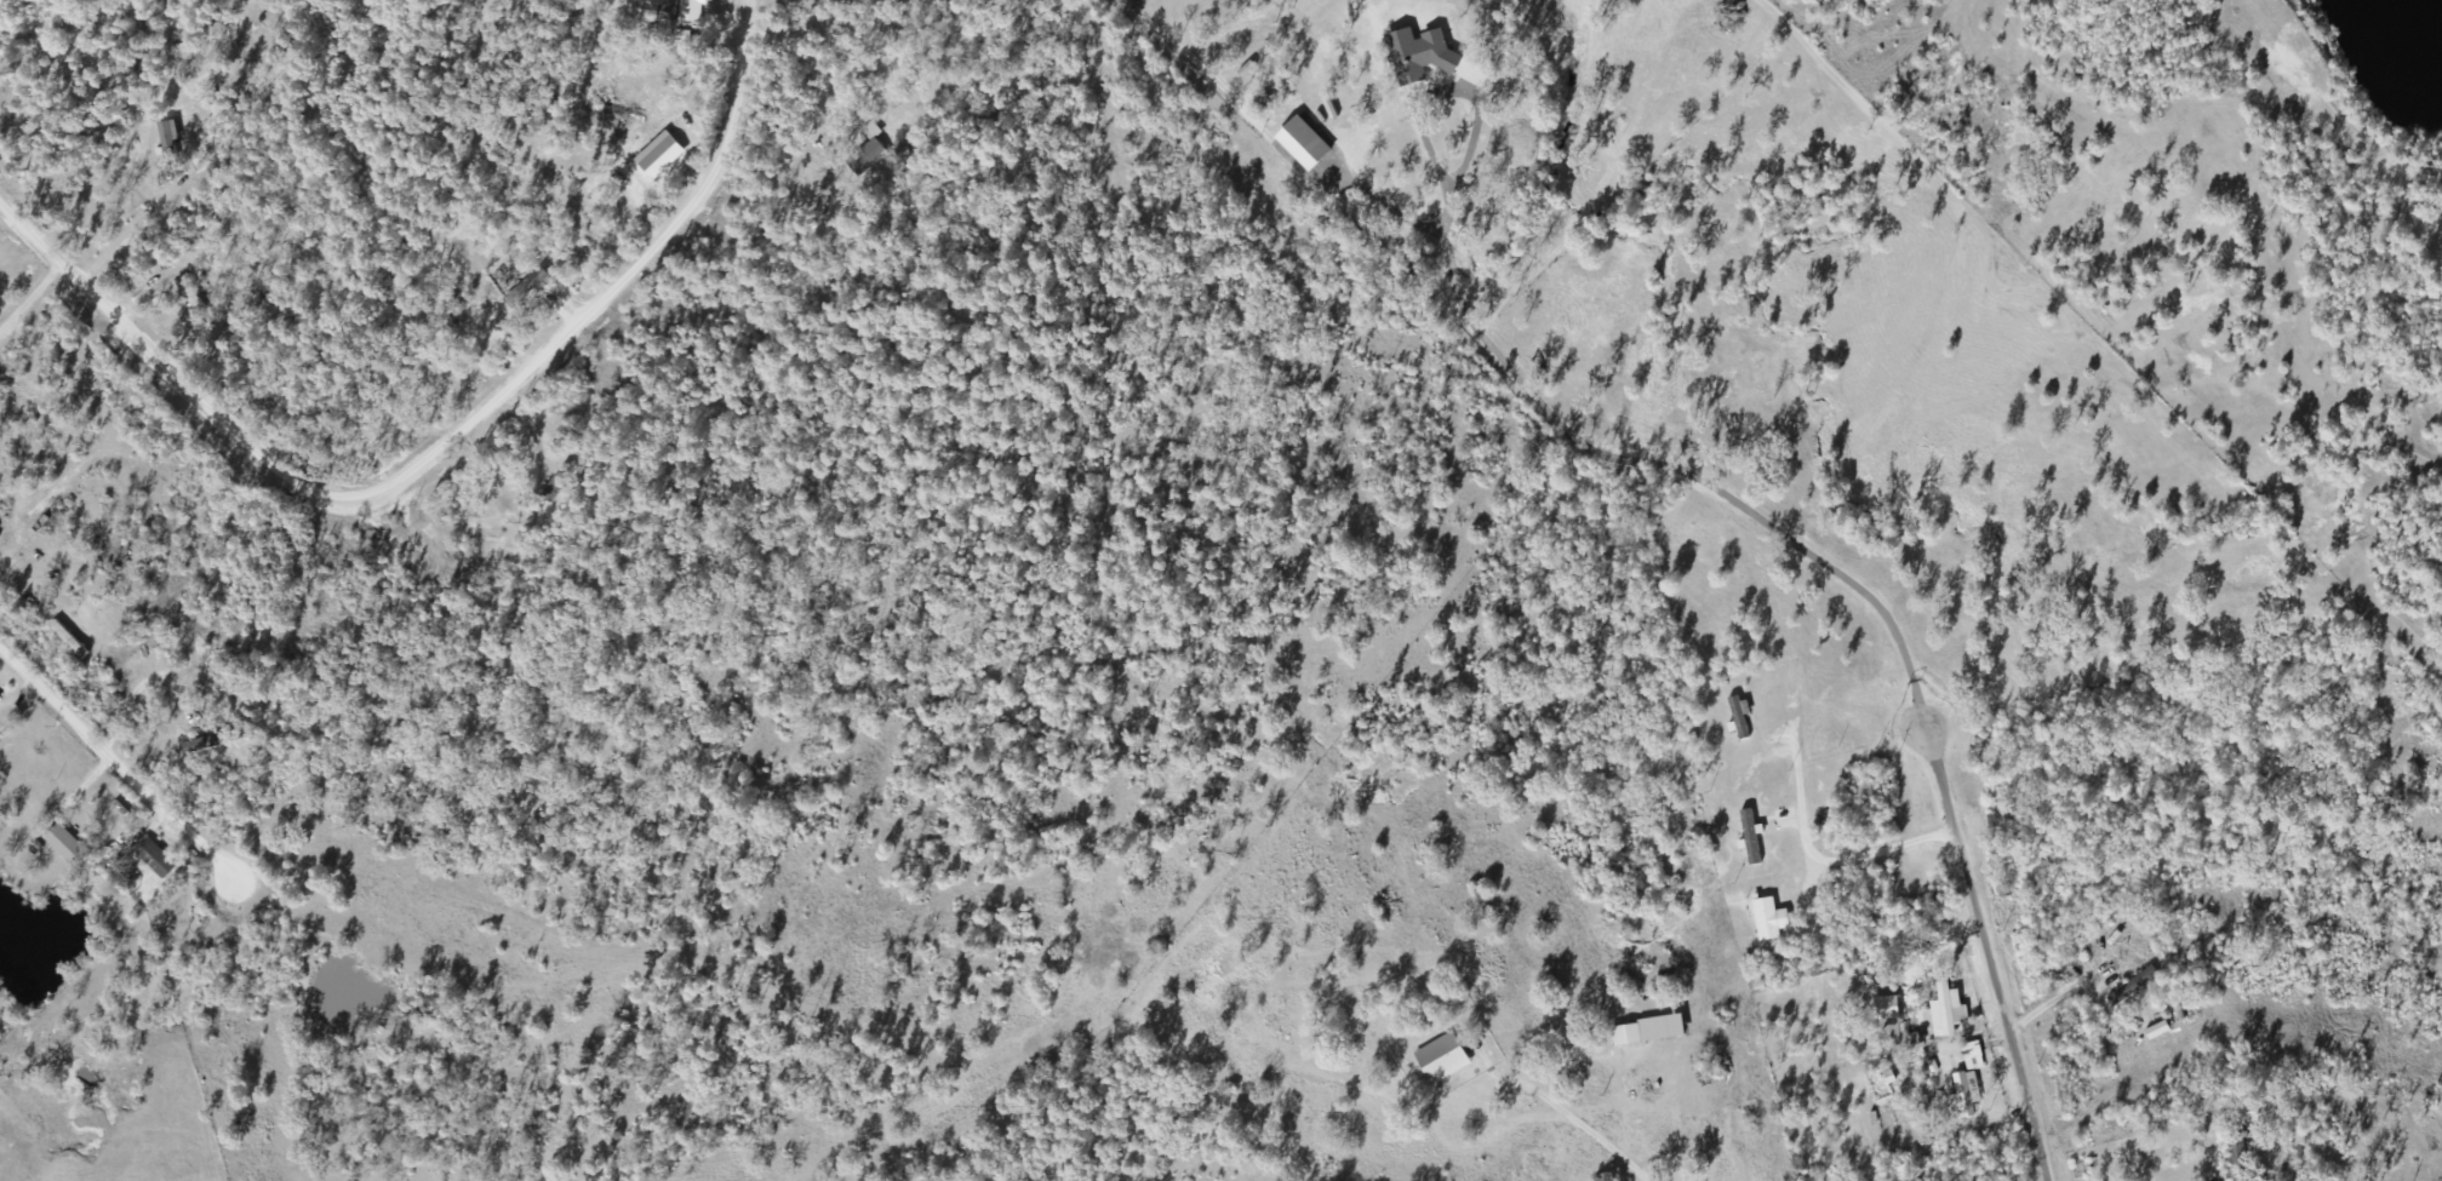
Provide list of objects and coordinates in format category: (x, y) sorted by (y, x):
building: (681, 12)
building: (1417, 69)
building: (1377, 131)
building: (168, 150)
building: (865, 154)
building: (522, 289)
road: (434, 445)
building: (1738, 718)
road: (113, 756)
building: (63, 845)
building: (151, 859)
building: (2131, 987)
road: (2061, 1007)
road: (1548, 1032)
building: (1624, 1036)
building: (1439, 1060)
road: (2034, 1108)
building: (2236, 1151)

